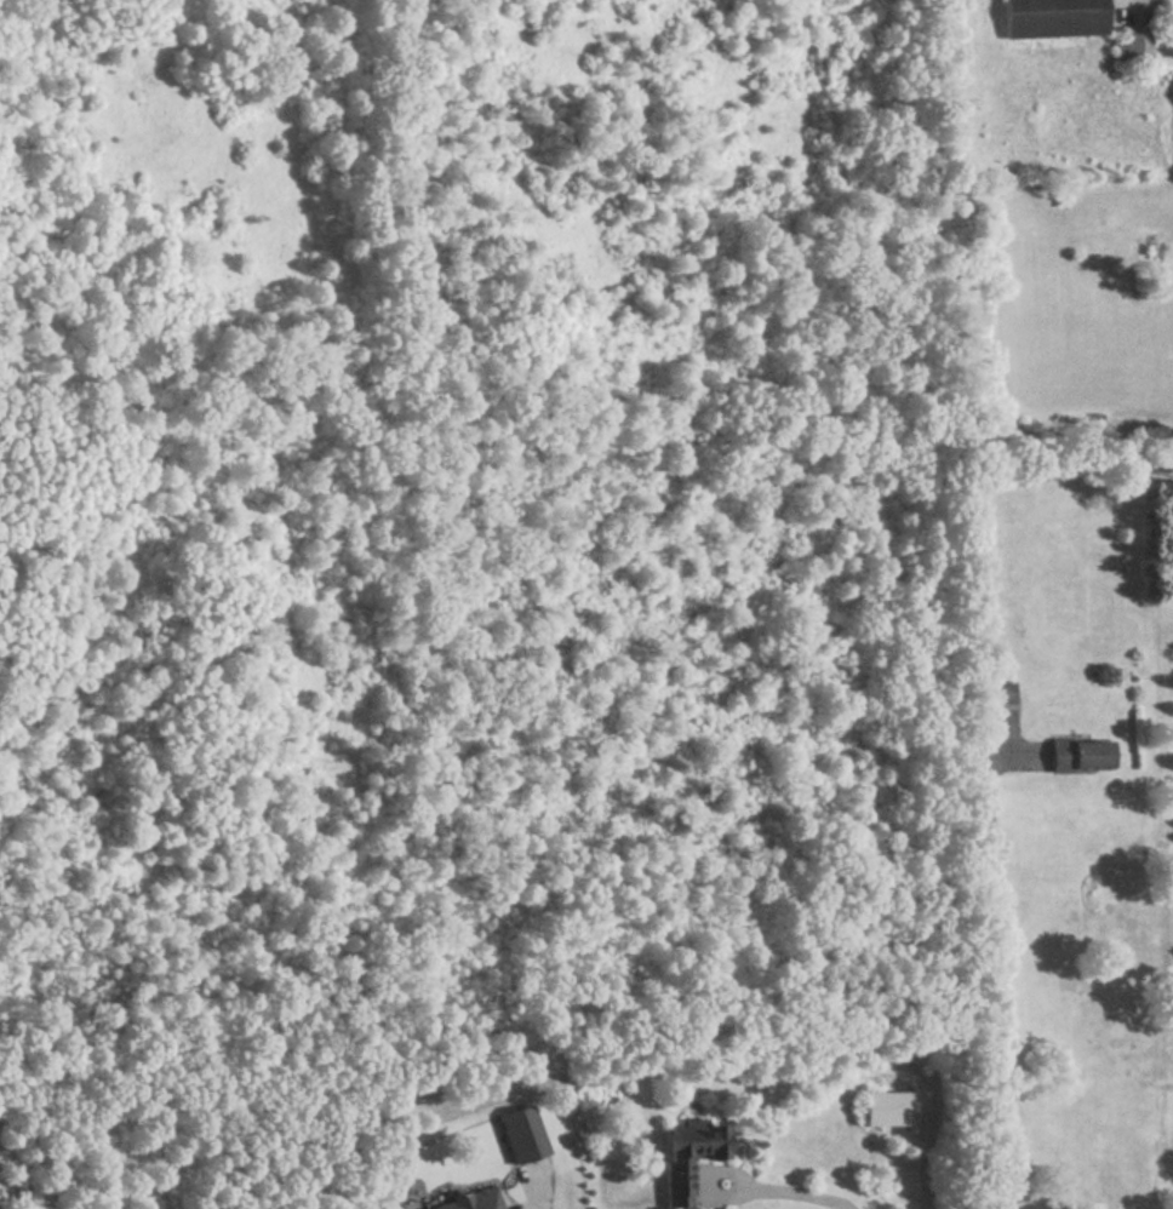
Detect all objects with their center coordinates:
building: (1052, 18)
building: (1134, 48)
building: (1080, 756)
road: (995, 975)
building: (888, 1108)
building: (687, 1157)
road: (800, 1196)

